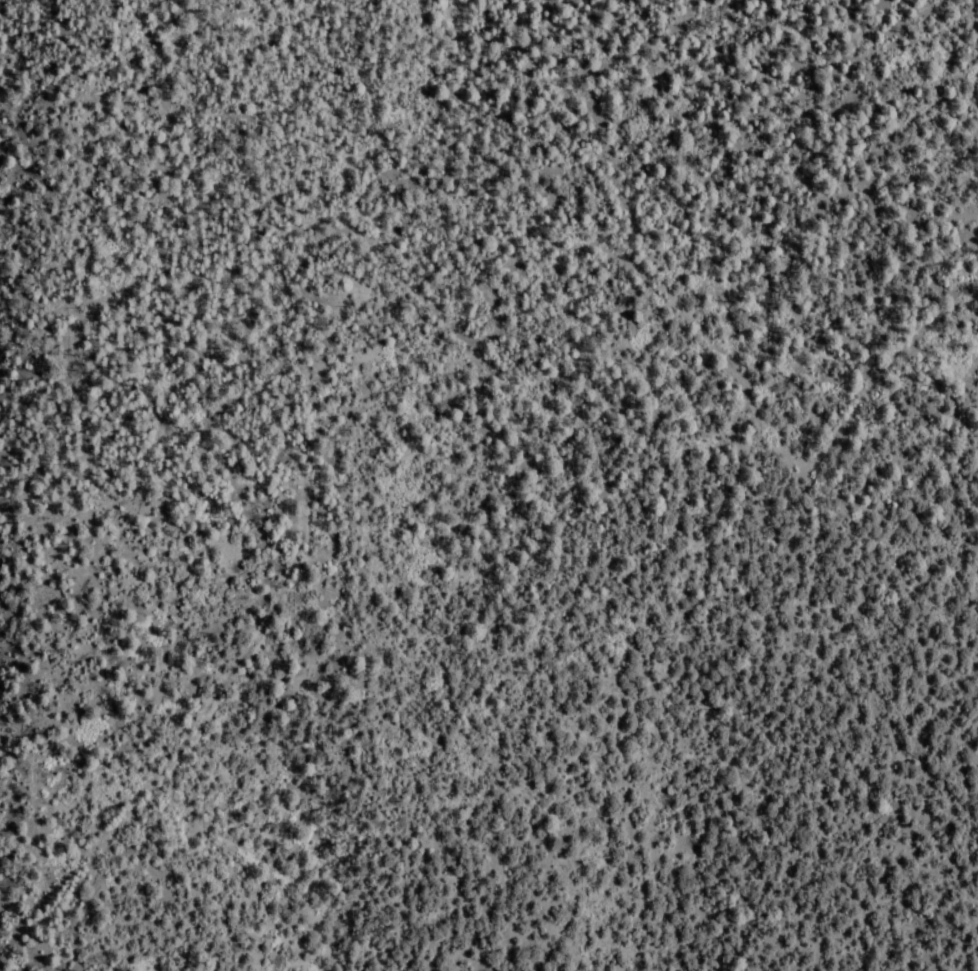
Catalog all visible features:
road: (397, 275)

